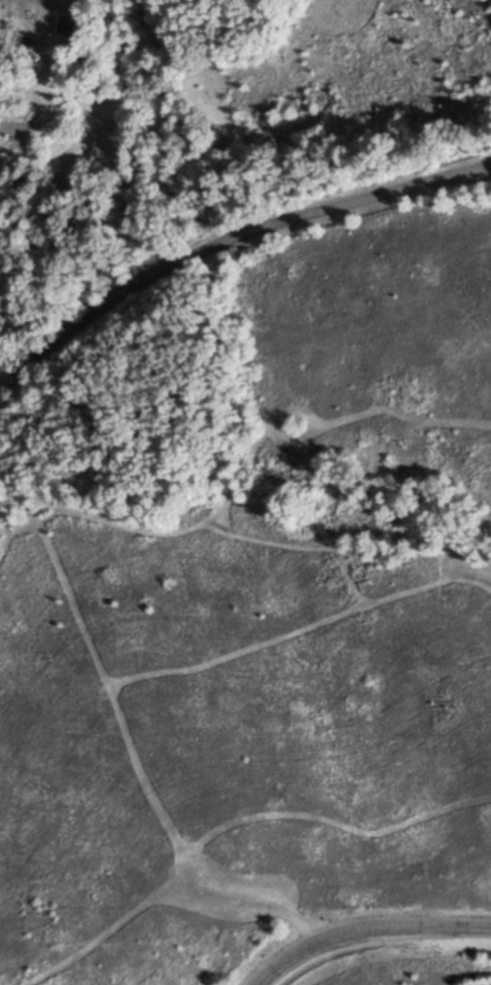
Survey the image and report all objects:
building: (65, 27)
road: (54, 67)
road: (226, 241)
road: (366, 930)

